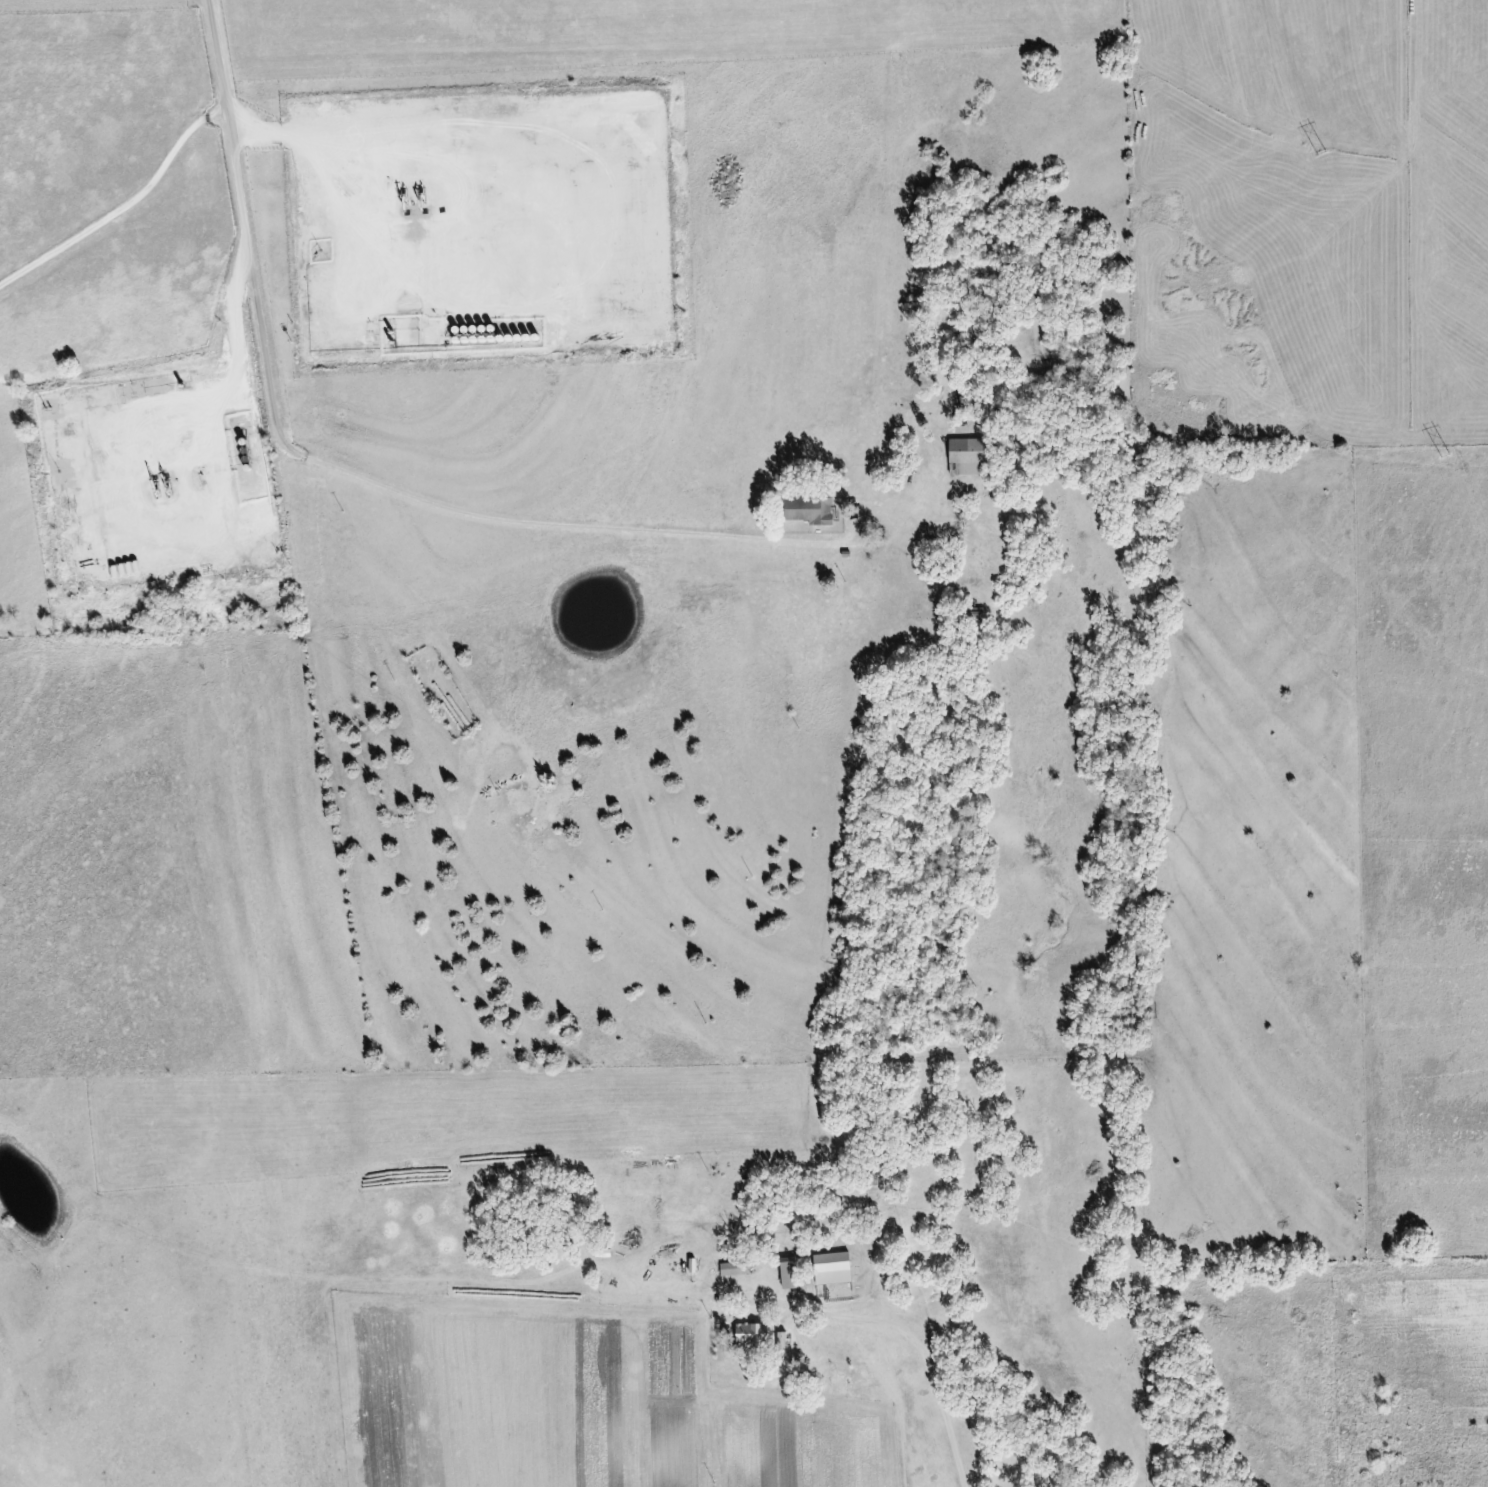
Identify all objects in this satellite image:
power tower: (1320, 155)
road: (123, 200)
building: (963, 457)
power tower: (1441, 458)
road: (357, 471)
building: (808, 509)
building: (732, 1269)
building: (831, 1269)
building: (788, 1273)
road: (837, 1312)
building: (750, 1335)
building: (781, 1344)

